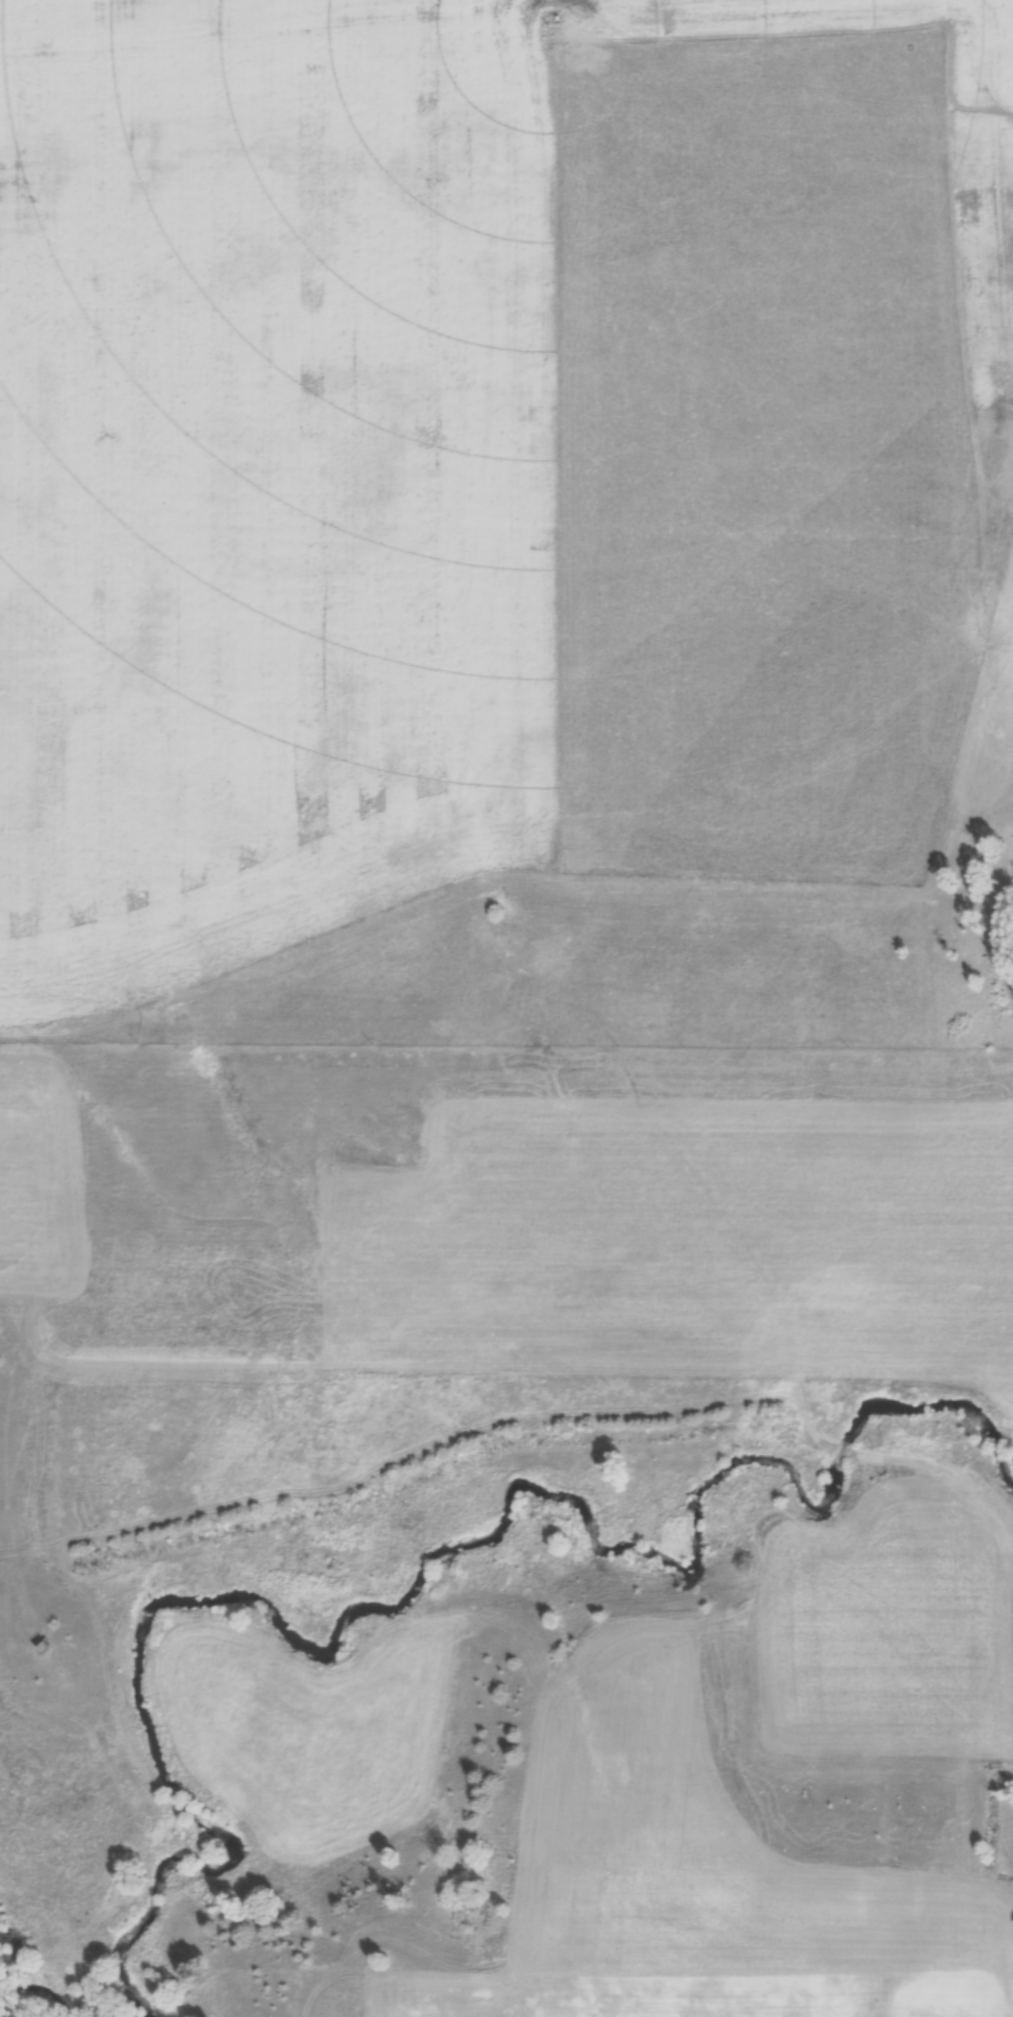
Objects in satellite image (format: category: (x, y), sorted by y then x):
road: (730, 1787)

